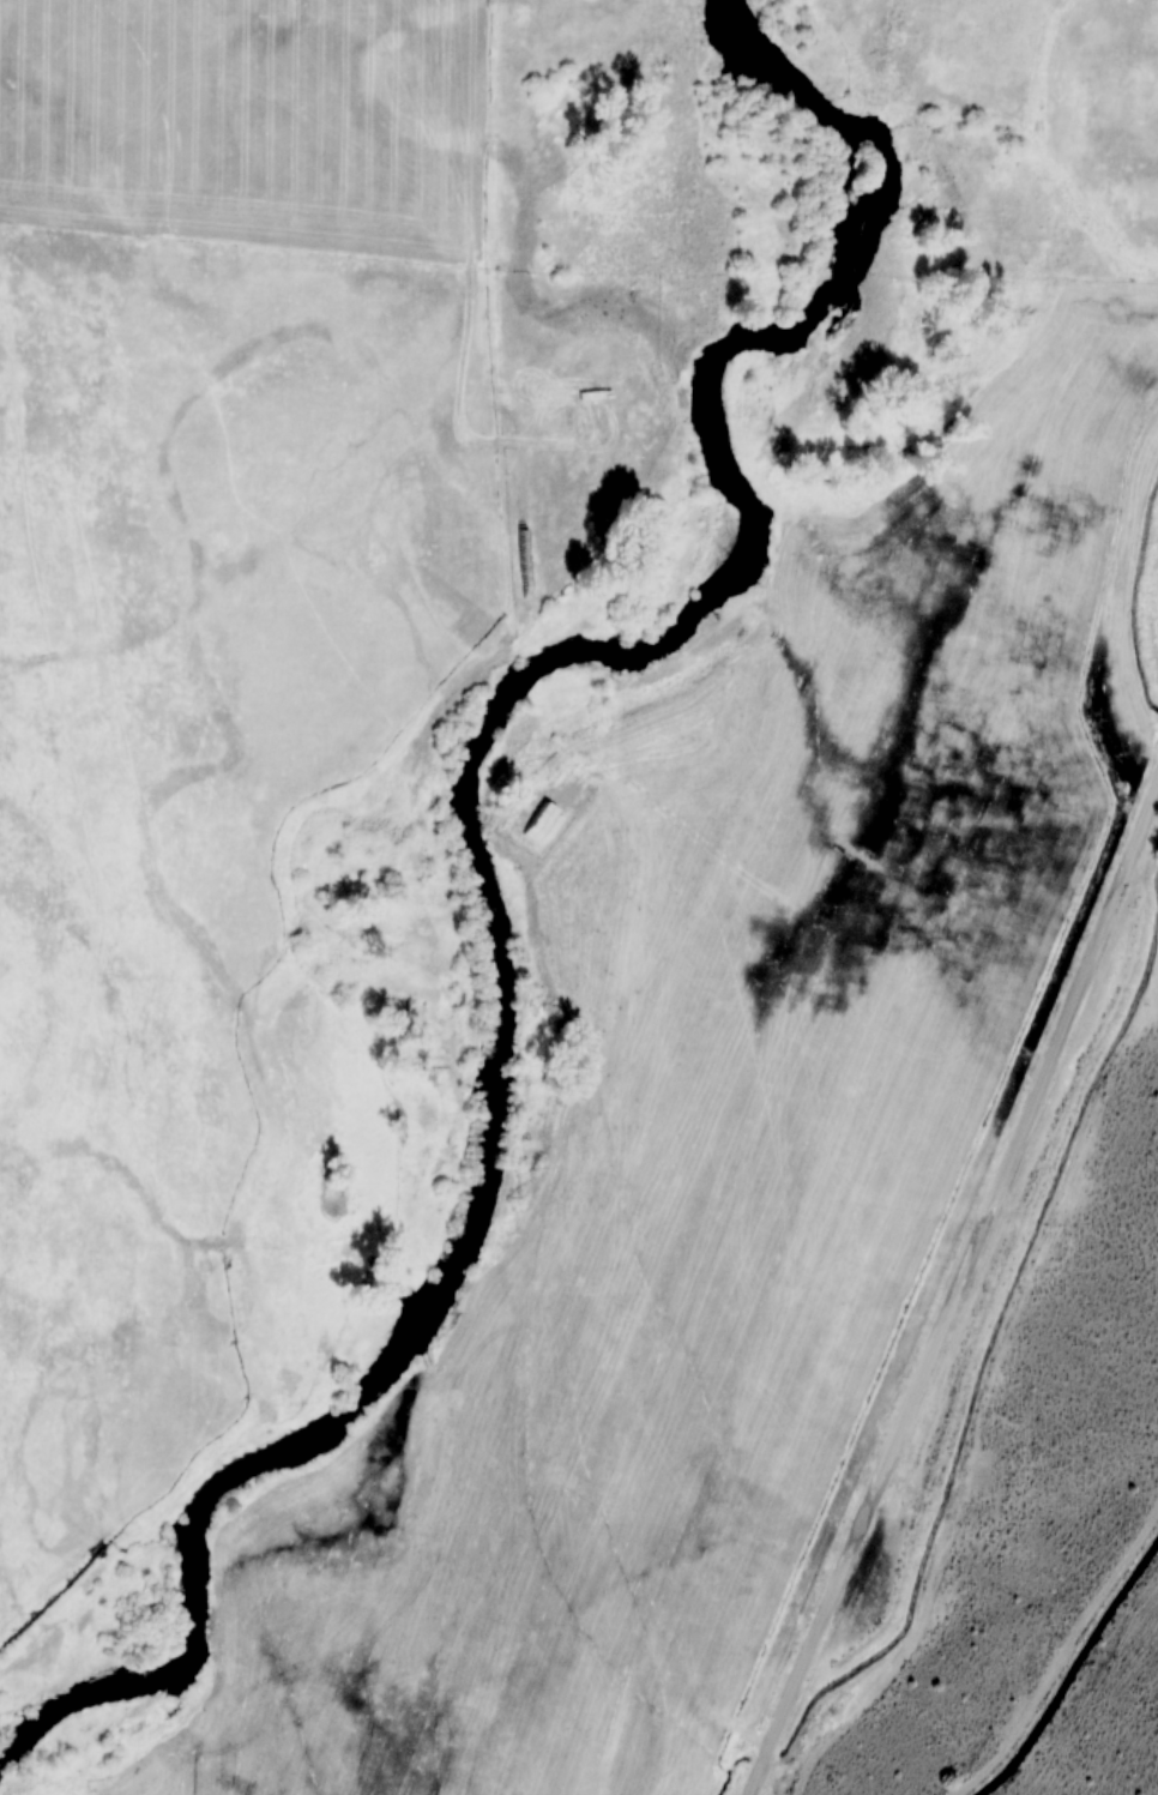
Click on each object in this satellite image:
river: (484, 877)
road: (957, 1294)

